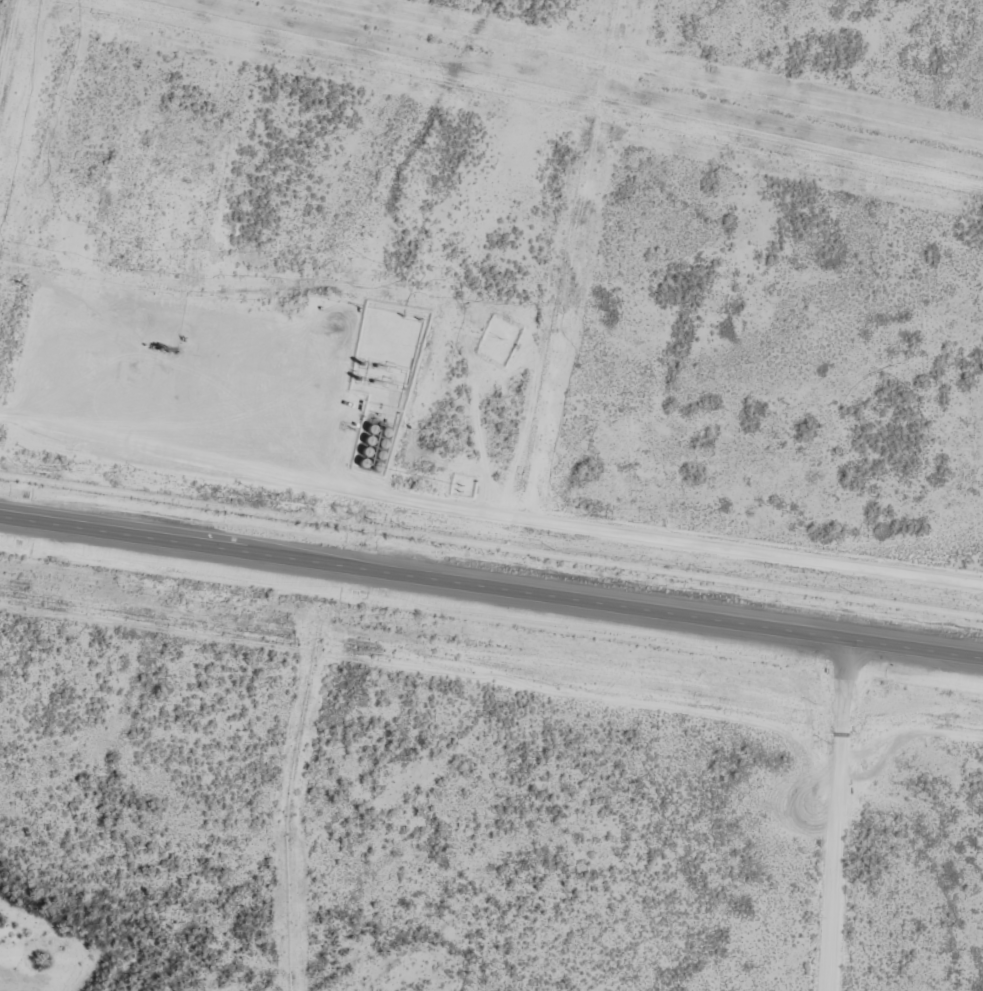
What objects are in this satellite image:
road: (491, 587)

